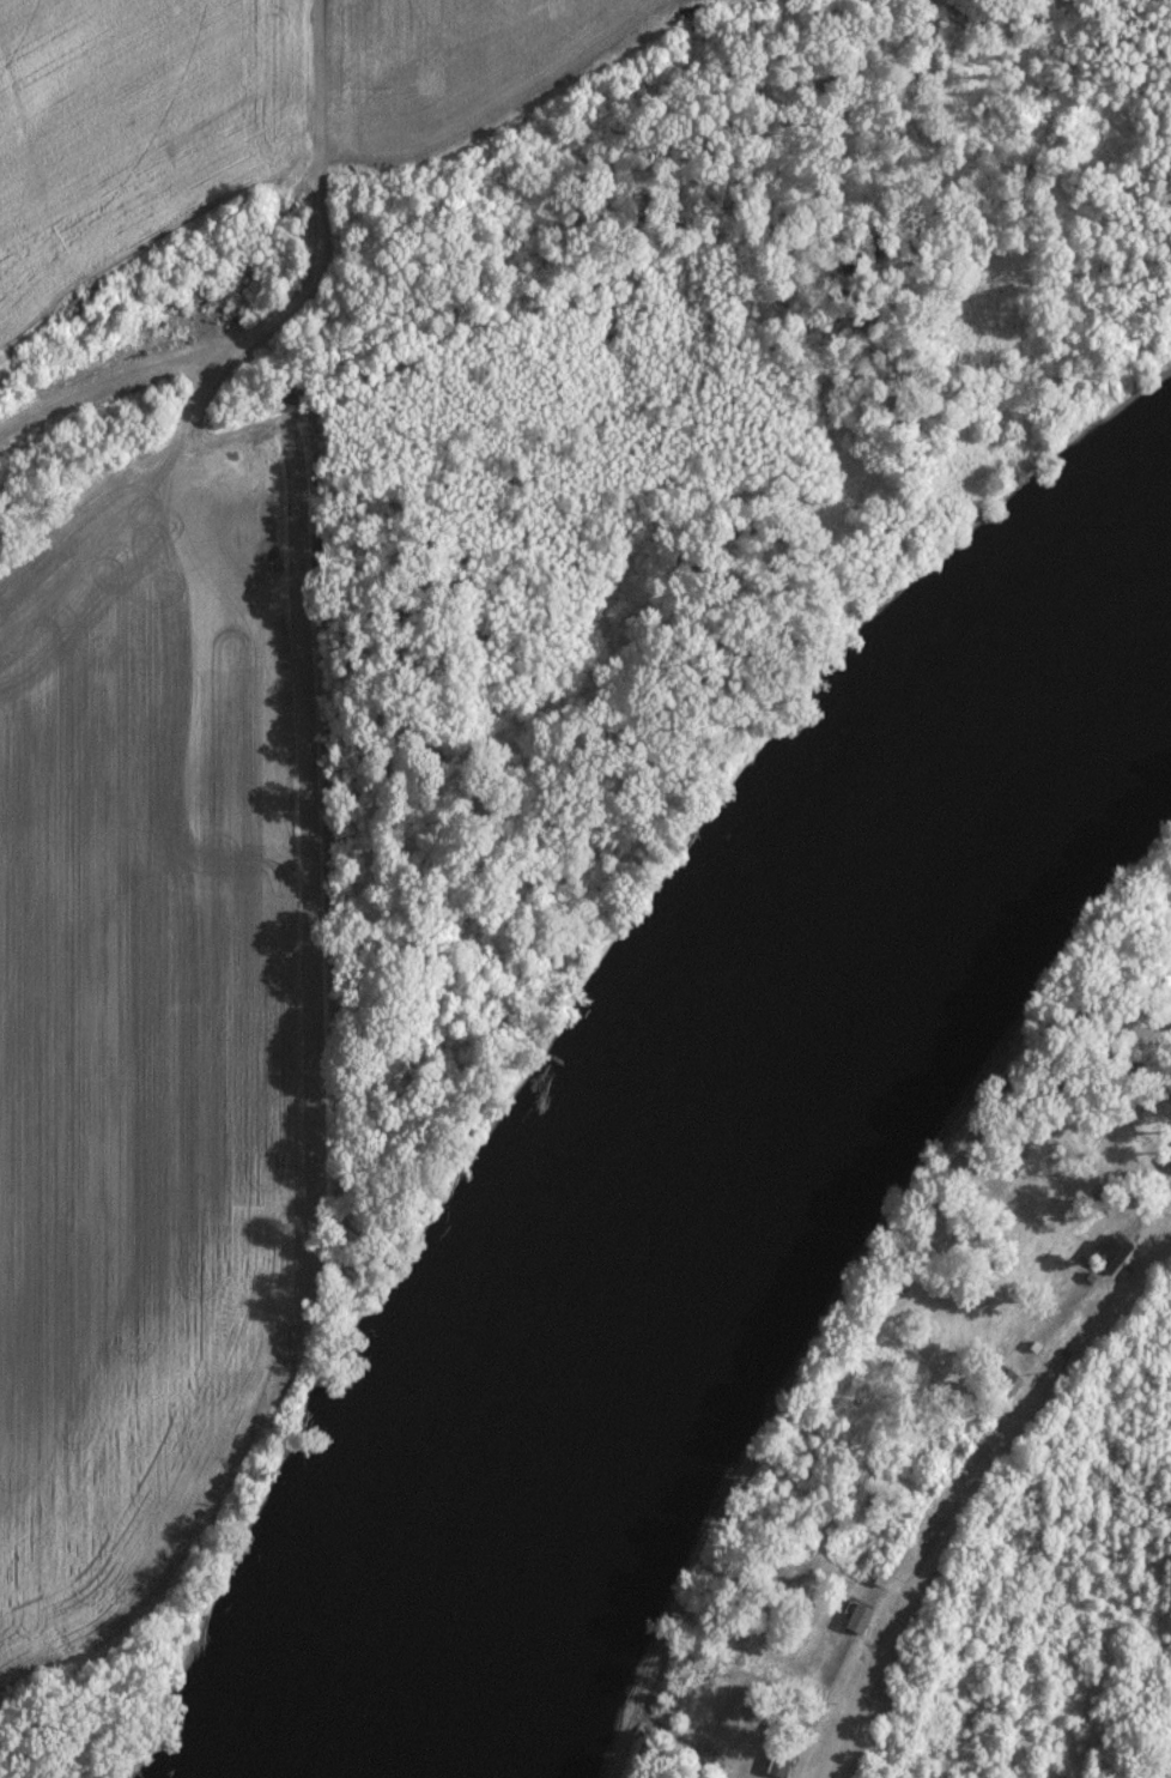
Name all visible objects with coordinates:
river: (754, 1197)
road: (971, 1494)
building: (864, 1617)

